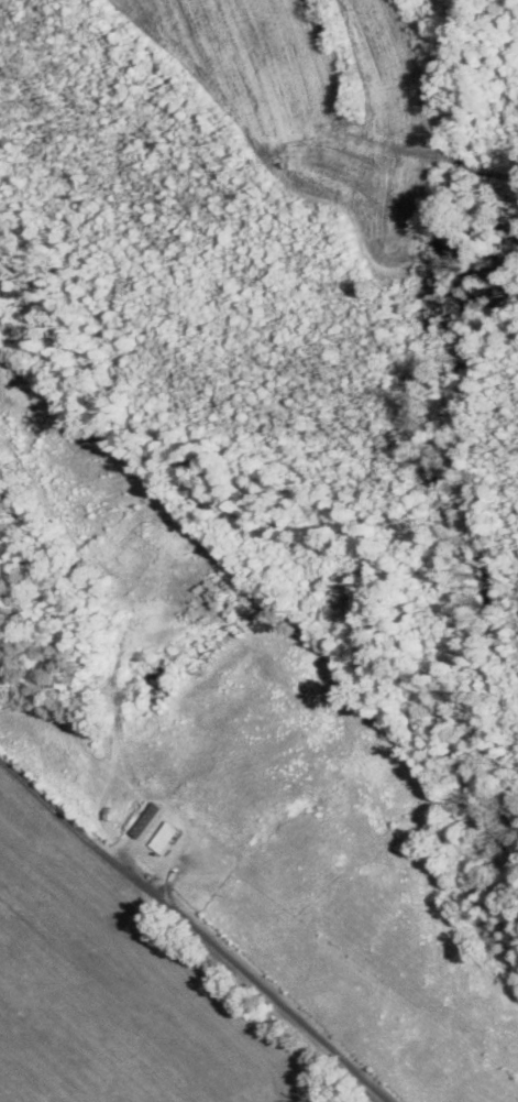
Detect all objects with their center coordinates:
building: (148, 819)
building: (165, 838)
road: (190, 930)

